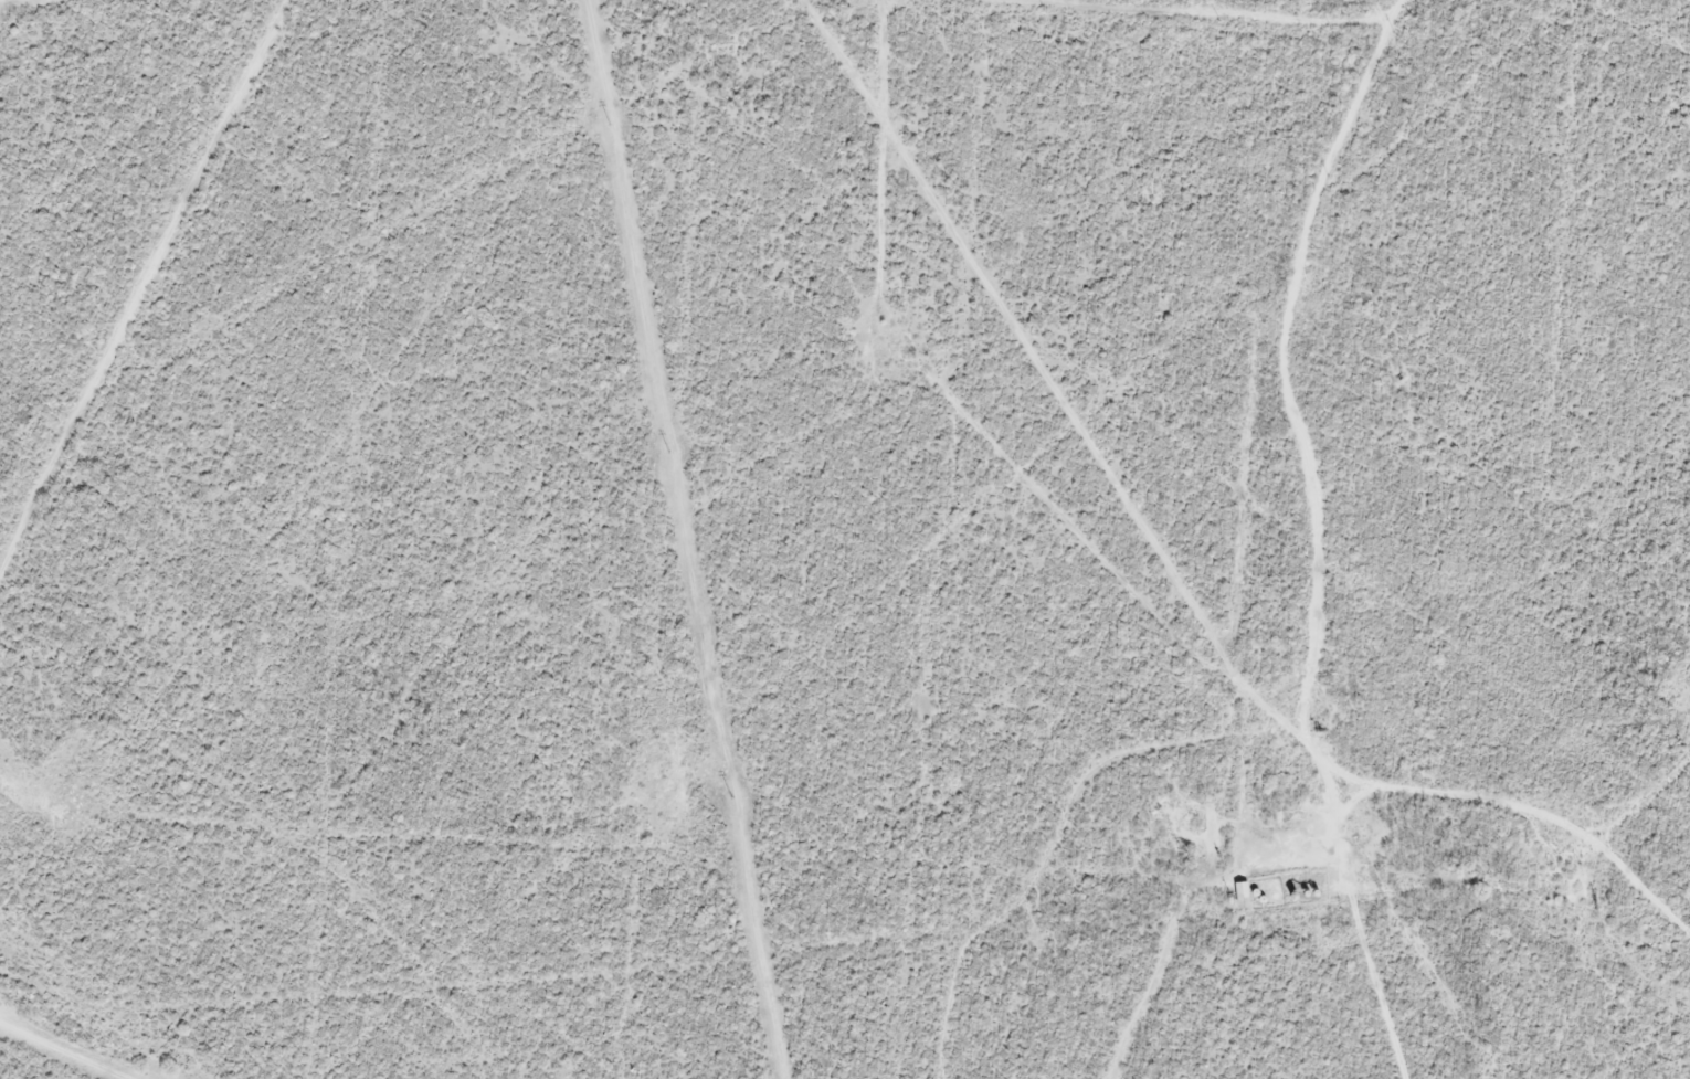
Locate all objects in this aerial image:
road: (372, 7)
road: (1140, 33)
power tower: (610, 123)
road: (855, 168)
road: (151, 300)
power tower: (669, 449)
road: (1406, 766)
power tower: (732, 796)
road: (1605, 812)
road: (1046, 887)
building: (1246, 898)

